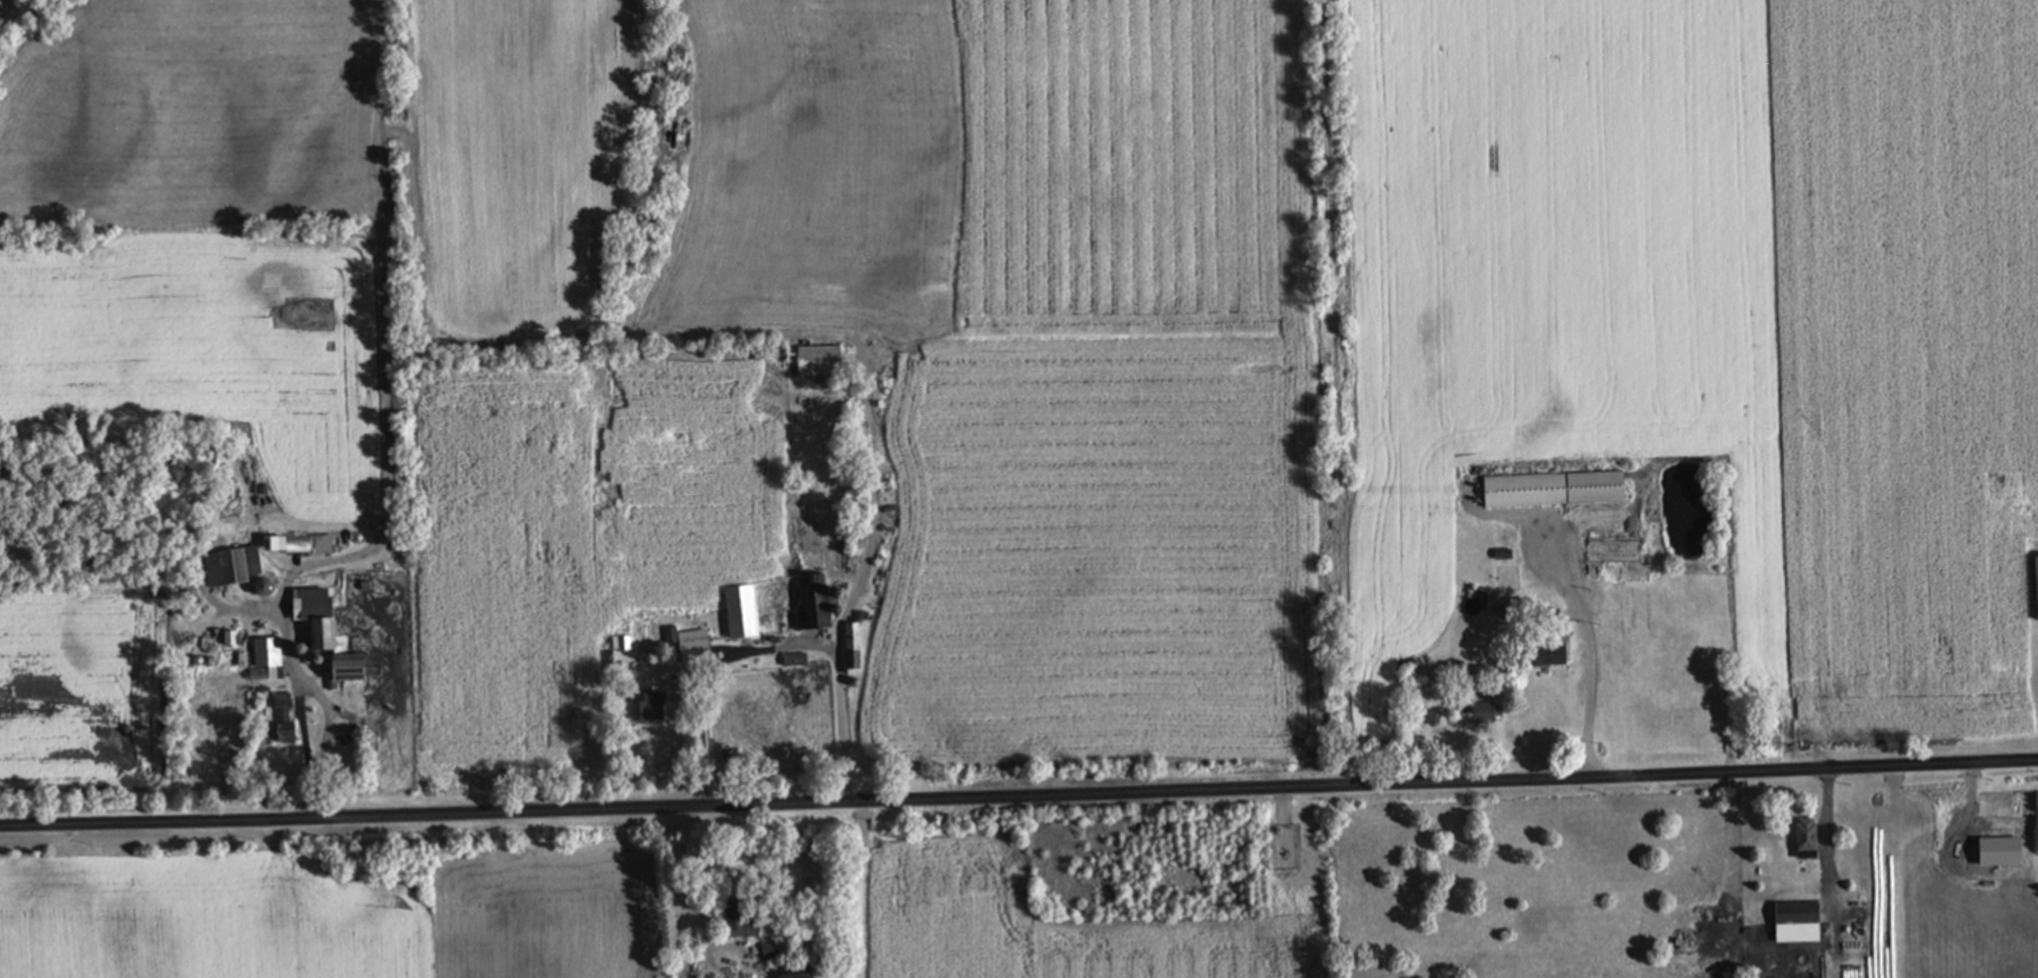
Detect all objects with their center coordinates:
building: (823, 362)
building: (1558, 491)
building: (302, 546)
road: (370, 550)
building: (1625, 557)
building: (230, 570)
building: (816, 604)
building: (745, 612)
building: (320, 613)
building: (624, 643)
building: (694, 645)
building: (856, 650)
building: (1549, 655)
building: (272, 657)
building: (797, 660)
road: (1593, 660)
building: (355, 670)
building: (653, 706)
road: (843, 706)
building: (1488, 713)
building: (287, 721)
road: (329, 726)
road: (1019, 793)
building: (1810, 838)
building: (1801, 913)
building: (744, 920)
building: (775, 952)
building: (801, 971)

